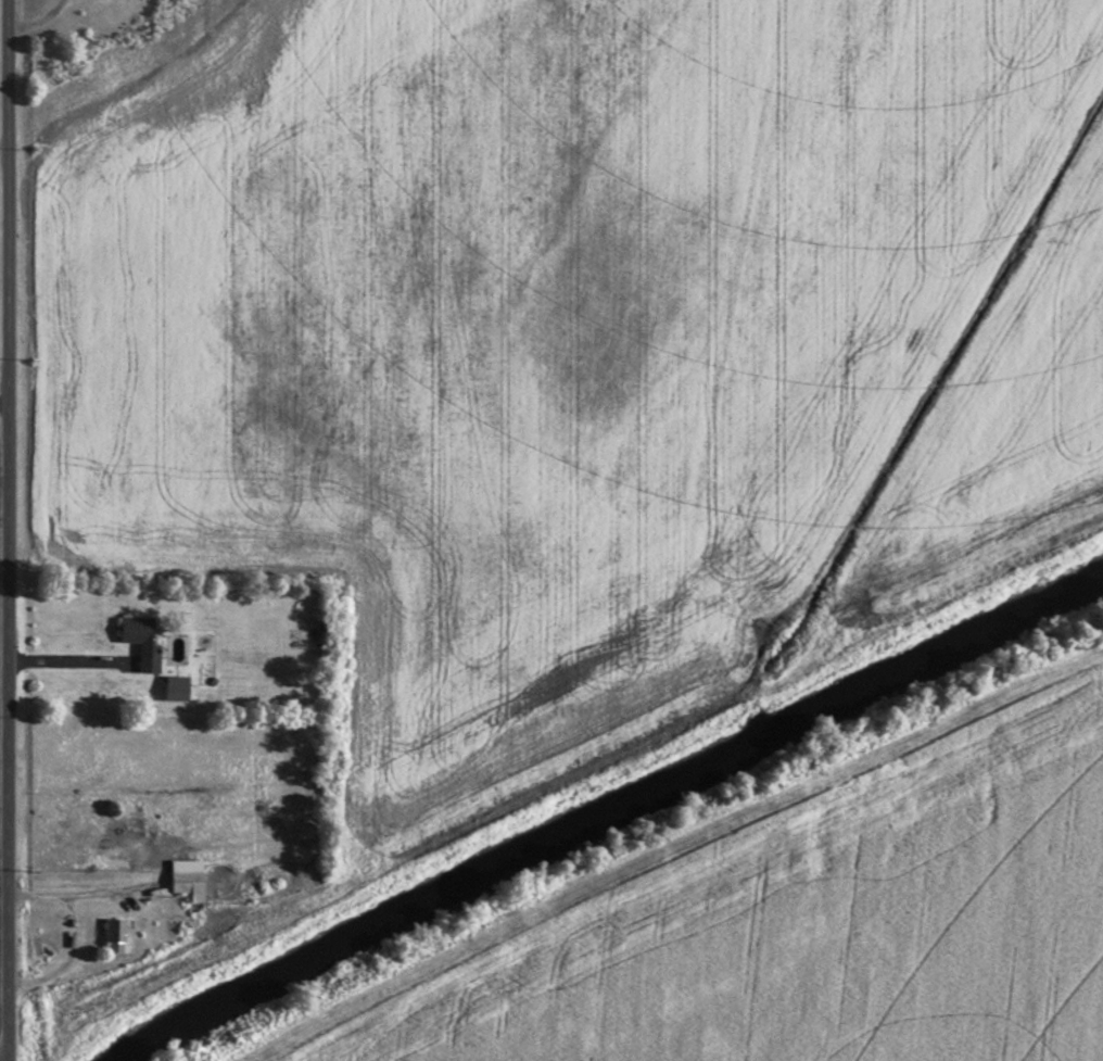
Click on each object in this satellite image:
road: (7, 148)
road: (3, 409)
road: (7, 530)
building: (140, 635)
road: (79, 664)
building: (189, 880)
road: (84, 891)

